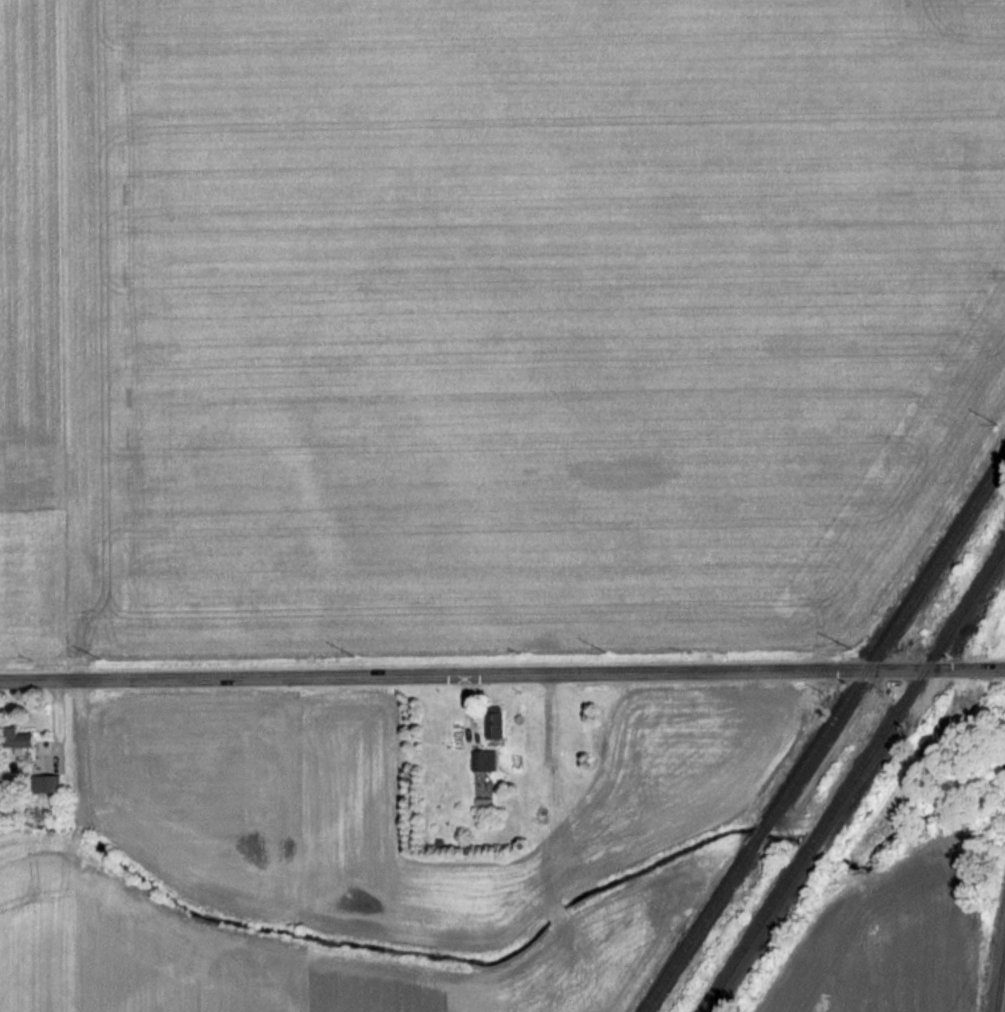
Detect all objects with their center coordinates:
road: (502, 673)
building: (494, 722)
railway: (824, 731)
building: (17, 737)
building: (484, 759)
railway: (852, 776)
building: (46, 783)
crop: (889, 937)
railway: (999, 978)
railway: (1004, 1010)

